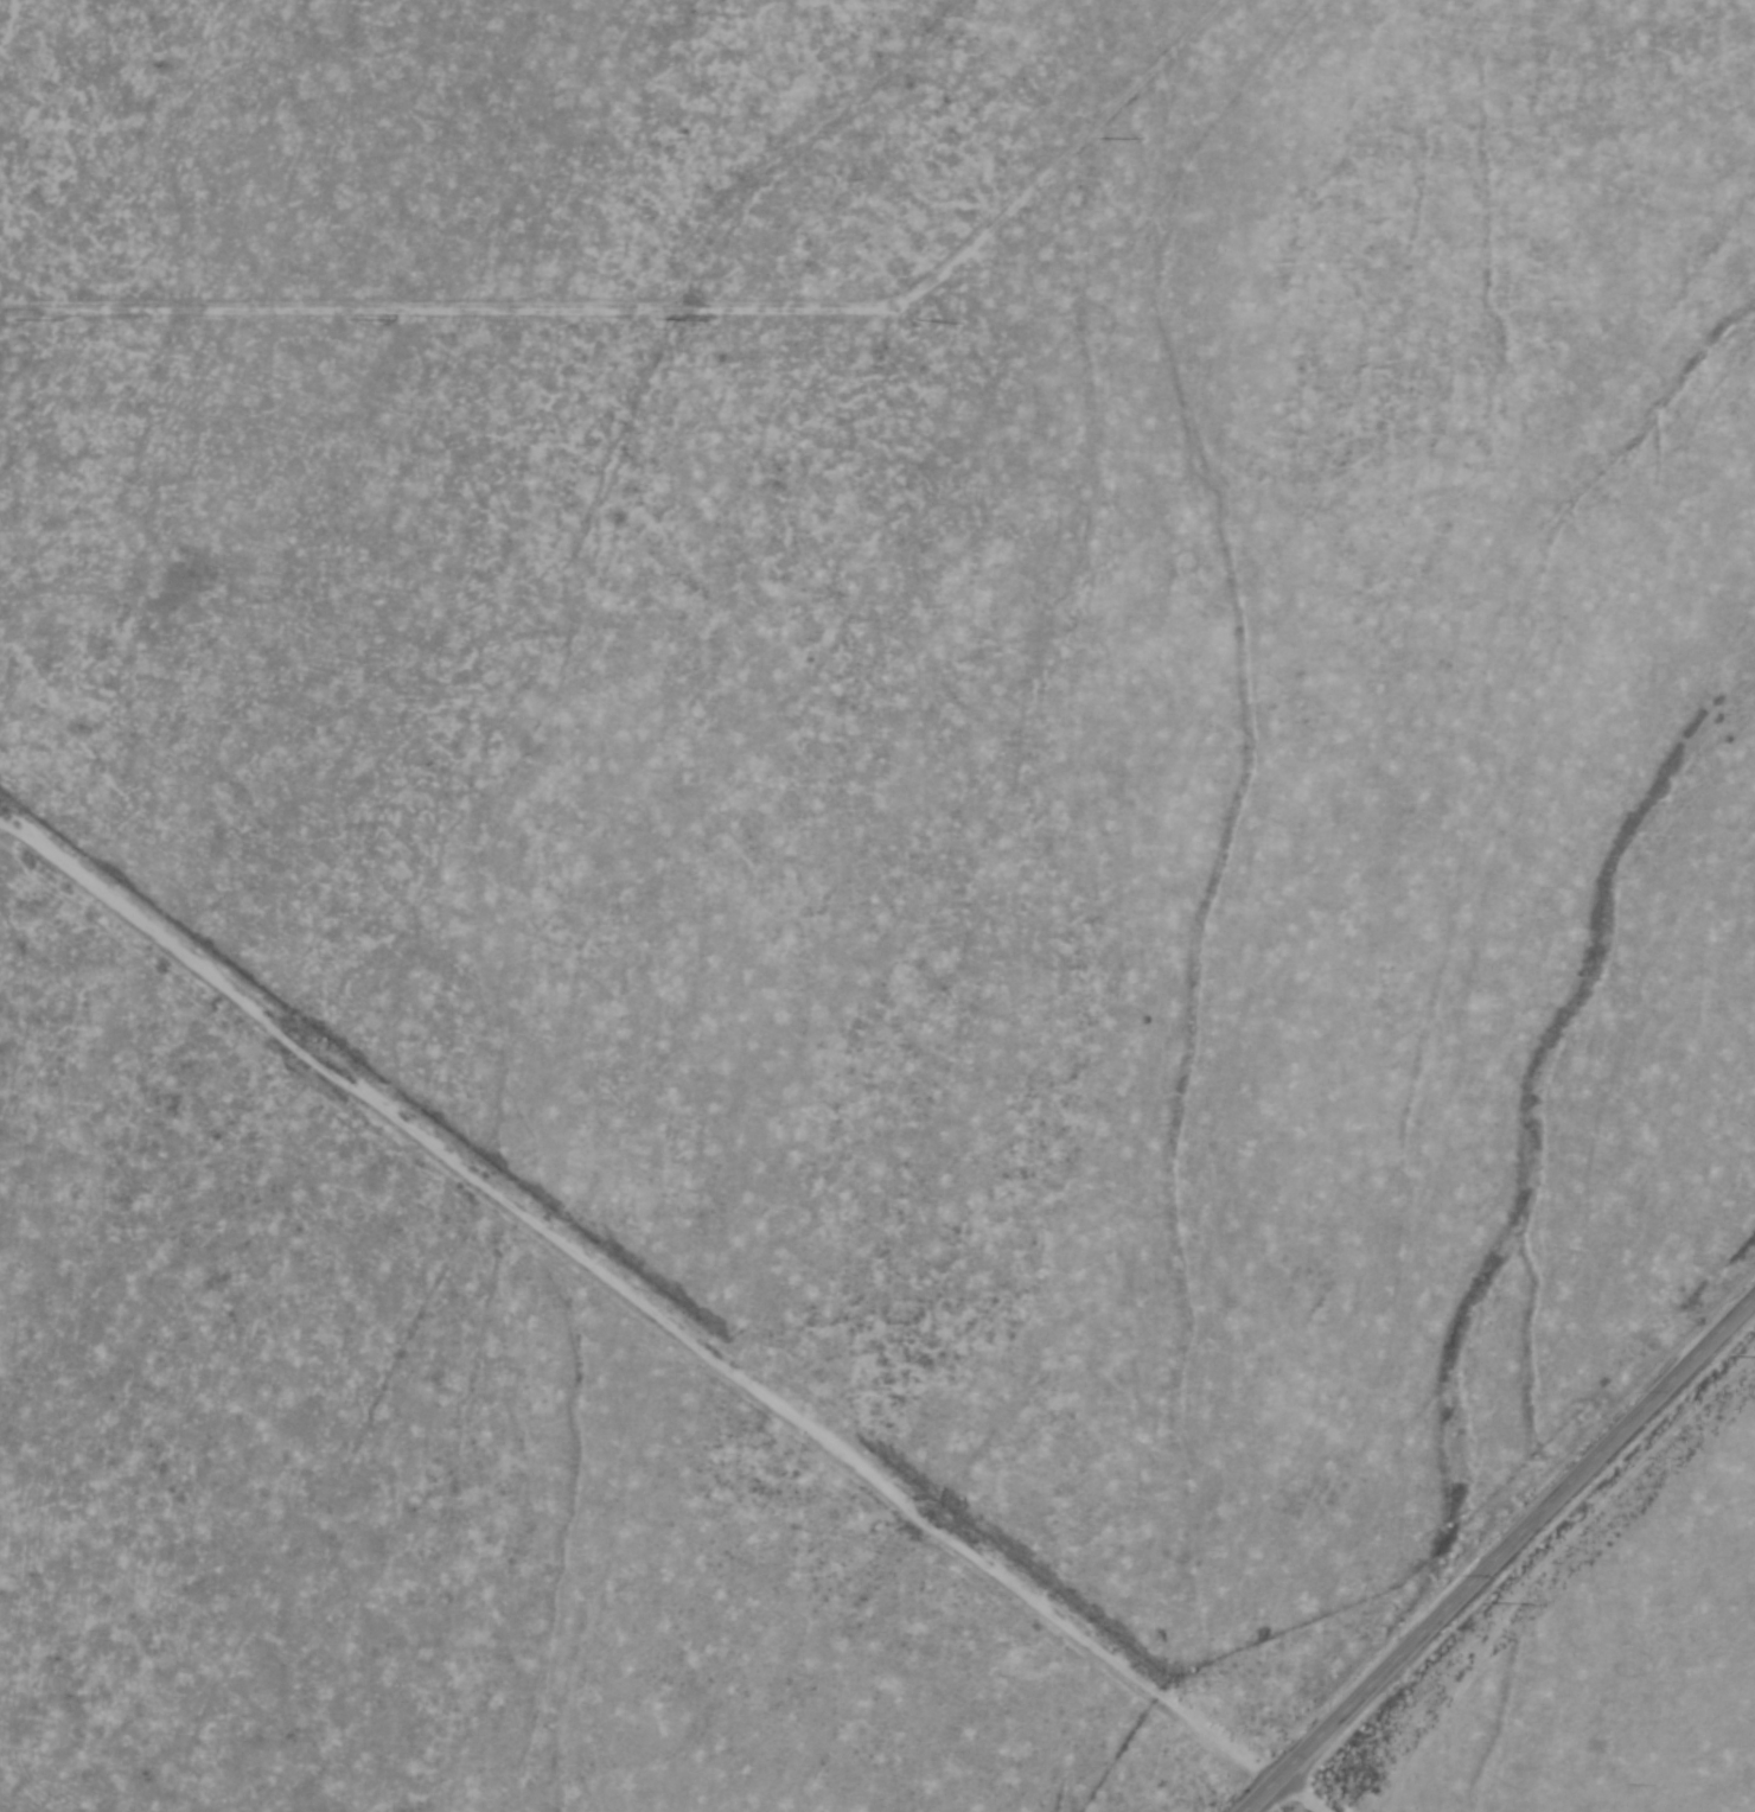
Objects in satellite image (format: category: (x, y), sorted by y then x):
road: (1500, 1553)

